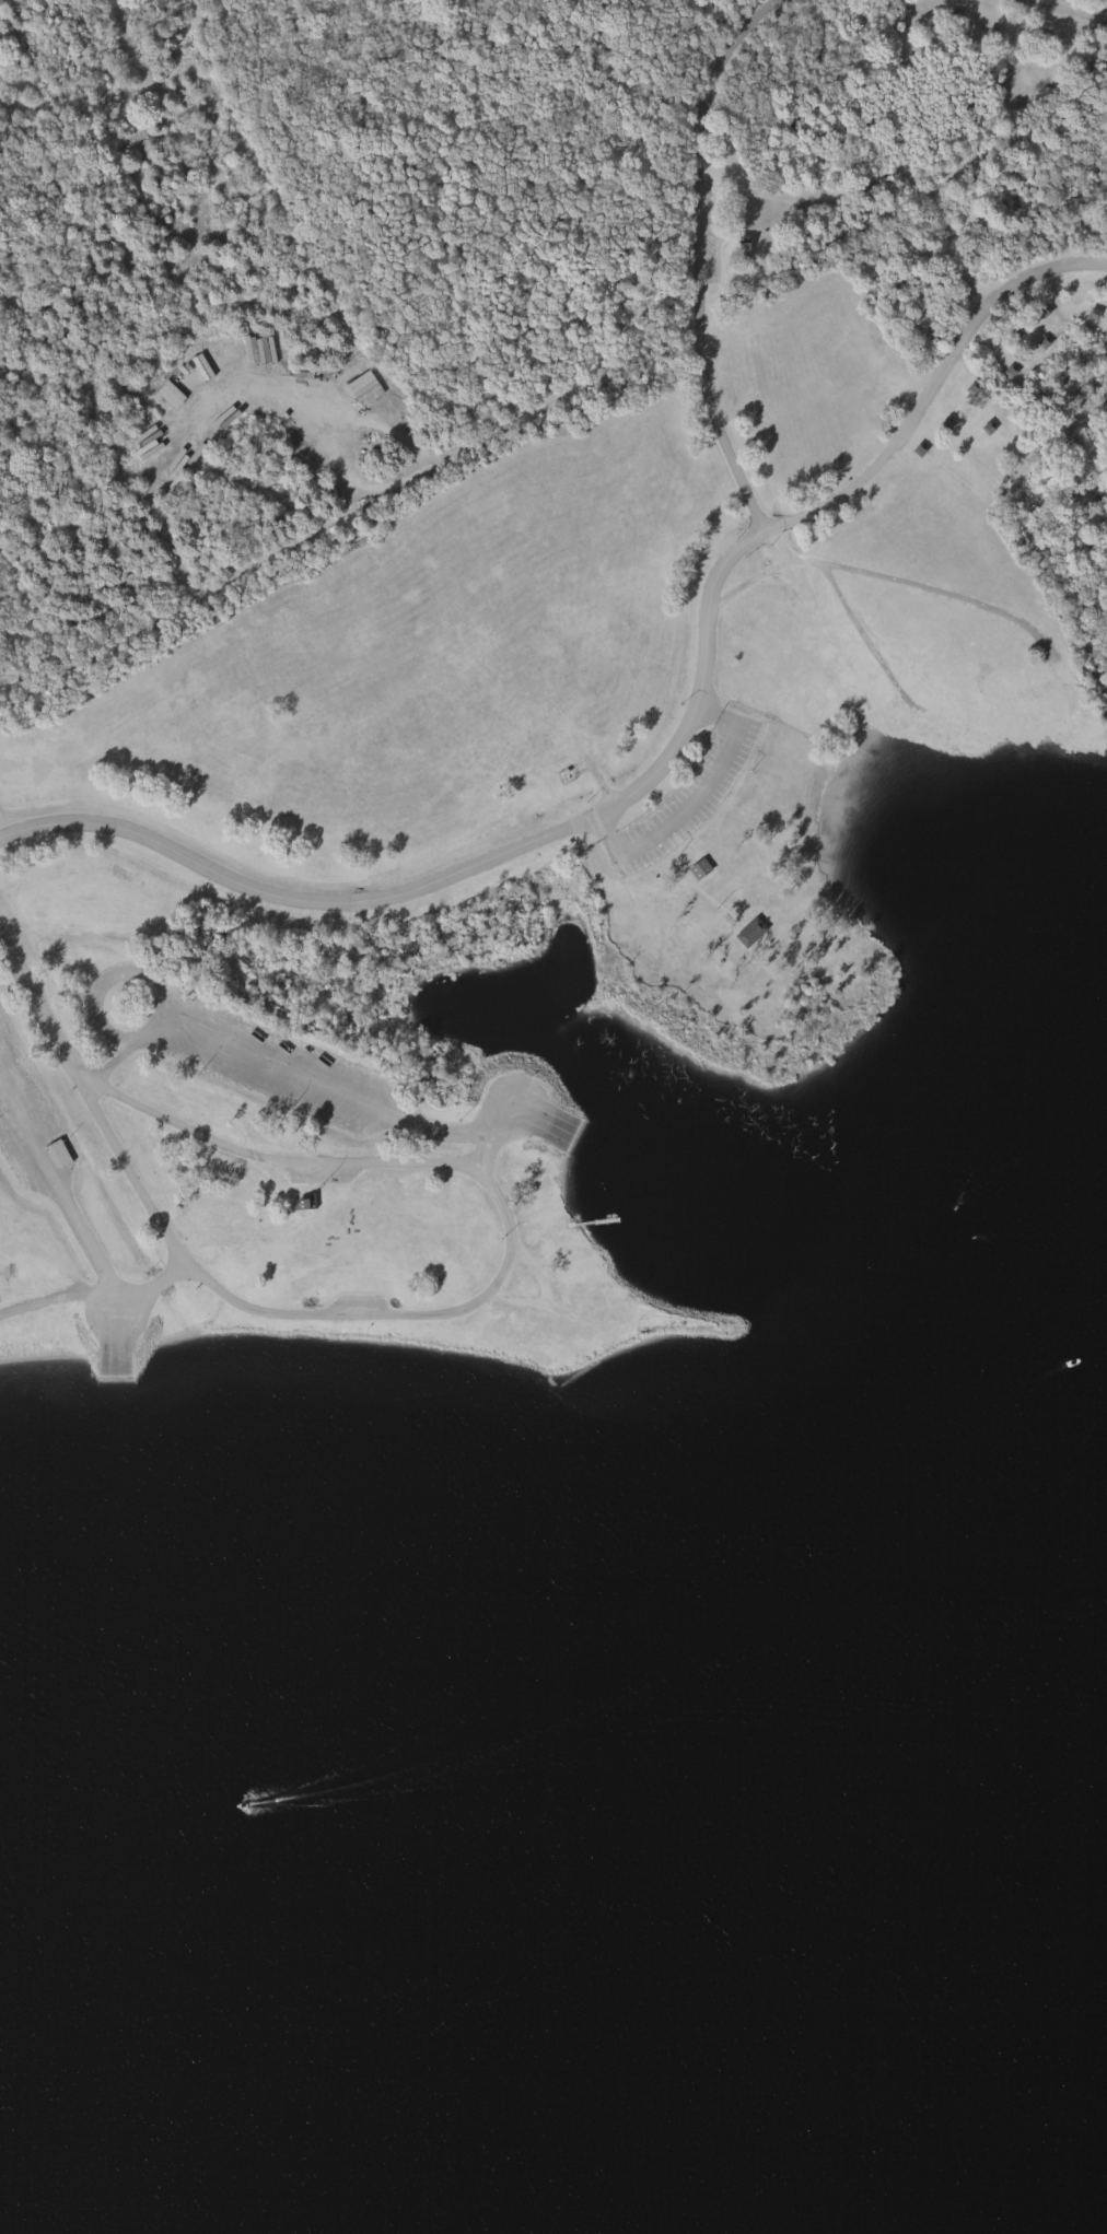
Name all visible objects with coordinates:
road: (1073, 8)
building: (225, 351)
building: (368, 388)
building: (174, 395)
road: (471, 442)
road: (741, 481)
road: (374, 484)
park: (493, 596)
parking lot: (687, 795)
road: (690, 804)
building: (703, 868)
road: (468, 872)
building: (755, 932)
road: (145, 978)
road: (43, 1006)
road: (113, 1066)
parking lot: (267, 1067)
road: (276, 1071)
parking lot: (28, 1121)
road: (33, 1133)
road: (458, 1133)
road: (493, 1137)
parking lot: (325, 1176)
building: (307, 1203)
road: (110, 1286)
road: (494, 1286)
parking lot: (361, 1303)

